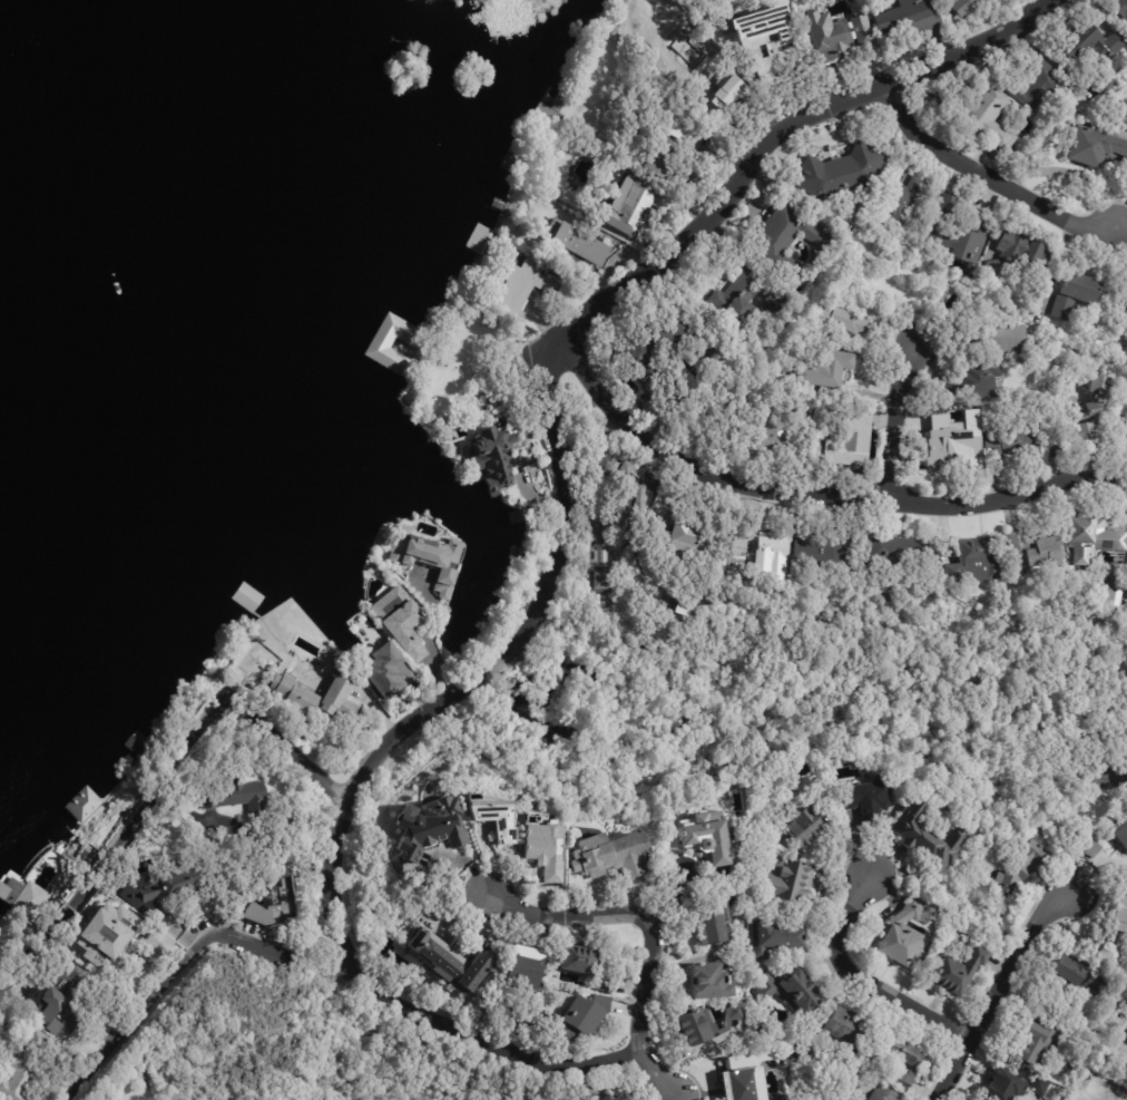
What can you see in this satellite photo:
building: (971, 6)
building: (1118, 7)
building: (905, 16)
building: (761, 28)
building: (841, 43)
building: (1088, 43)
building: (693, 56)
building: (1041, 89)
building: (725, 93)
building: (987, 120)
building: (677, 123)
building: (1094, 148)
building: (664, 157)
building: (835, 173)
road: (983, 175)
building: (523, 192)
building: (634, 202)
building: (895, 206)
building: (955, 234)
building: (786, 240)
building: (578, 244)
building: (1020, 250)
road: (664, 257)
building: (993, 269)
building: (527, 285)
building: (1123, 293)
building: (1069, 294)
building: (737, 300)
building: (1001, 302)
building: (777, 303)
building: (846, 323)
building: (394, 334)
building: (684, 335)
building: (991, 337)
building: (717, 358)
building: (830, 368)
building: (648, 370)
building: (970, 380)
building: (643, 395)
building: (725, 406)
building: (808, 417)
building: (1087, 417)
road: (894, 422)
building: (1124, 426)
building: (777, 435)
building: (1011, 442)
building: (851, 444)
building: (954, 454)
building: (498, 458)
road: (816, 494)
building: (635, 495)
building: (1090, 538)
building: (695, 539)
building: (899, 548)
building: (1031, 548)
building: (770, 553)
building: (827, 553)
building: (432, 558)
building: (971, 559)
building: (604, 562)
building: (373, 572)
building: (935, 590)
building: (1126, 592)
building: (1105, 593)
building: (1126, 595)
building: (689, 605)
building: (732, 612)
building: (406, 621)
road: (431, 634)
road: (494, 663)
building: (344, 664)
building: (392, 672)
building: (321, 697)
building: (412, 700)
road: (401, 728)
road: (776, 746)
road: (161, 780)
building: (862, 798)
building: (243, 800)
building: (84, 805)
building: (937, 810)
building: (496, 818)
building: (802, 826)
building: (429, 827)
building: (1120, 833)
building: (1079, 835)
building: (707, 836)
building: (925, 843)
building: (548, 849)
building: (1088, 849)
building: (1069, 857)
building: (618, 859)
building: (1012, 868)
building: (785, 880)
road: (331, 890)
building: (169, 895)
building: (27, 899)
building: (281, 905)
building: (713, 923)
road: (647, 929)
building: (1113, 931)
building: (898, 934)
building: (108, 937)
building: (773, 938)
building: (165, 944)
road: (184, 962)
building: (453, 963)
building: (526, 967)
building: (586, 967)
building: (957, 972)
building: (1076, 974)
road: (863, 979)
building: (707, 982)
building: (786, 990)
road: (999, 991)
building: (67, 999)
building: (1121, 1011)
building: (582, 1018)
building: (694, 1022)
building: (1126, 1030)
building: (844, 1031)
road: (489, 1042)
building: (1036, 1042)
building: (800, 1050)
building: (898, 1058)
building: (26, 1068)
building: (741, 1077)
building: (1009, 1086)
building: (826, 1093)
building: (871, 1093)
building: (608, 1098)

